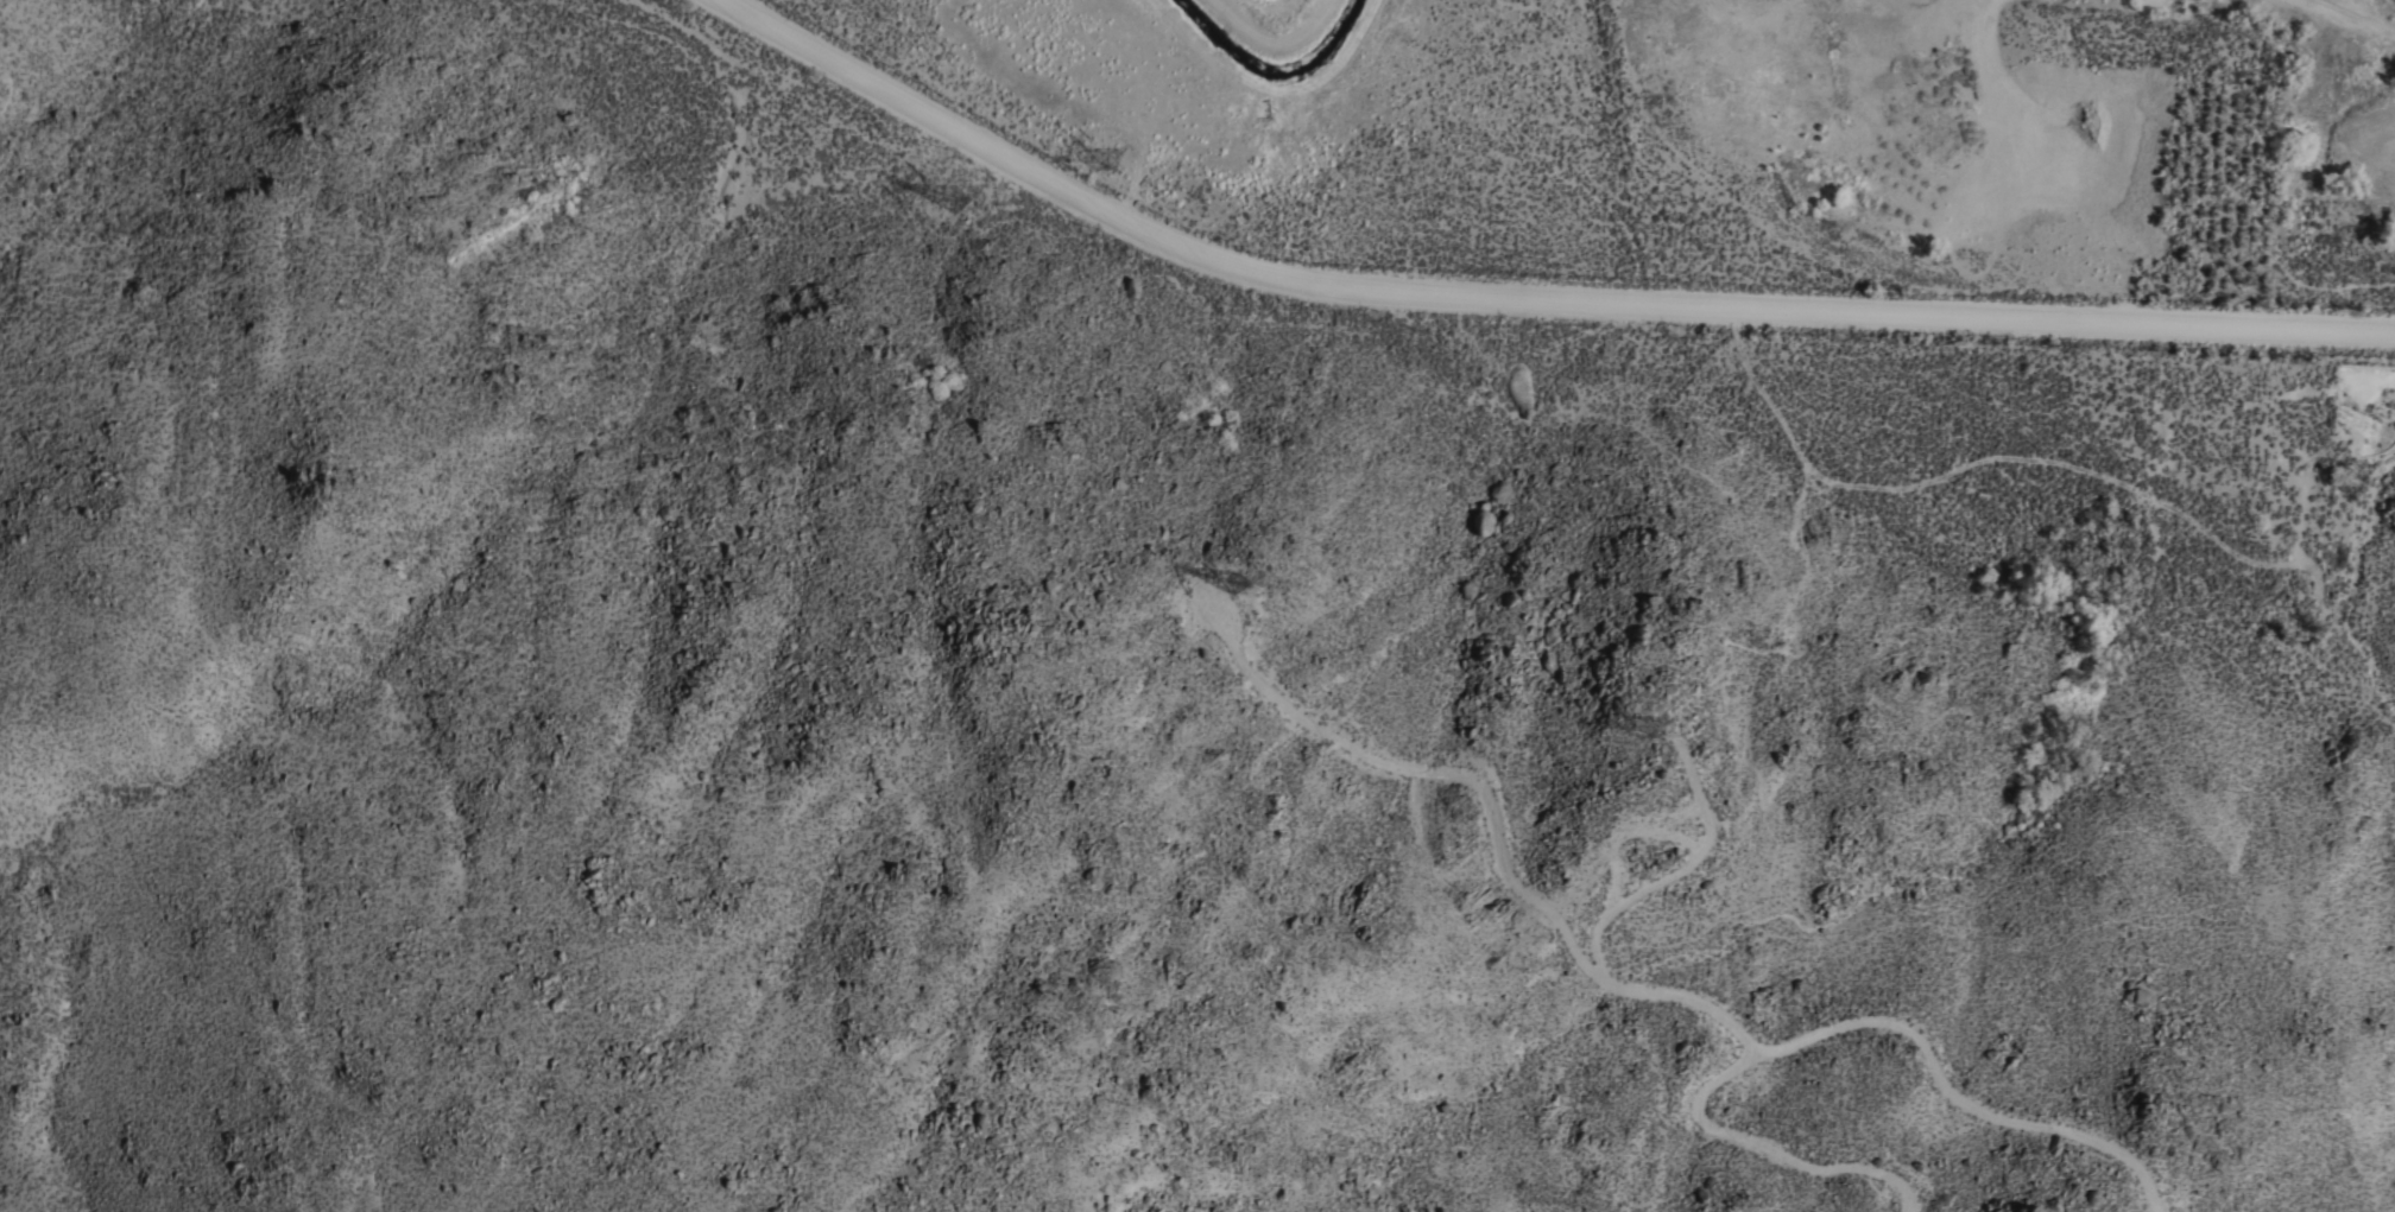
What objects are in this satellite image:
road: (1271, 46)
road: (1271, 97)
quarry: (2048, 134)
power tower: (1098, 158)
power tower: (958, 201)
road: (1524, 302)
power tower: (1231, 579)
power tower: (1650, 729)
road: (1669, 874)
road: (1629, 994)
road: (1758, 1148)

